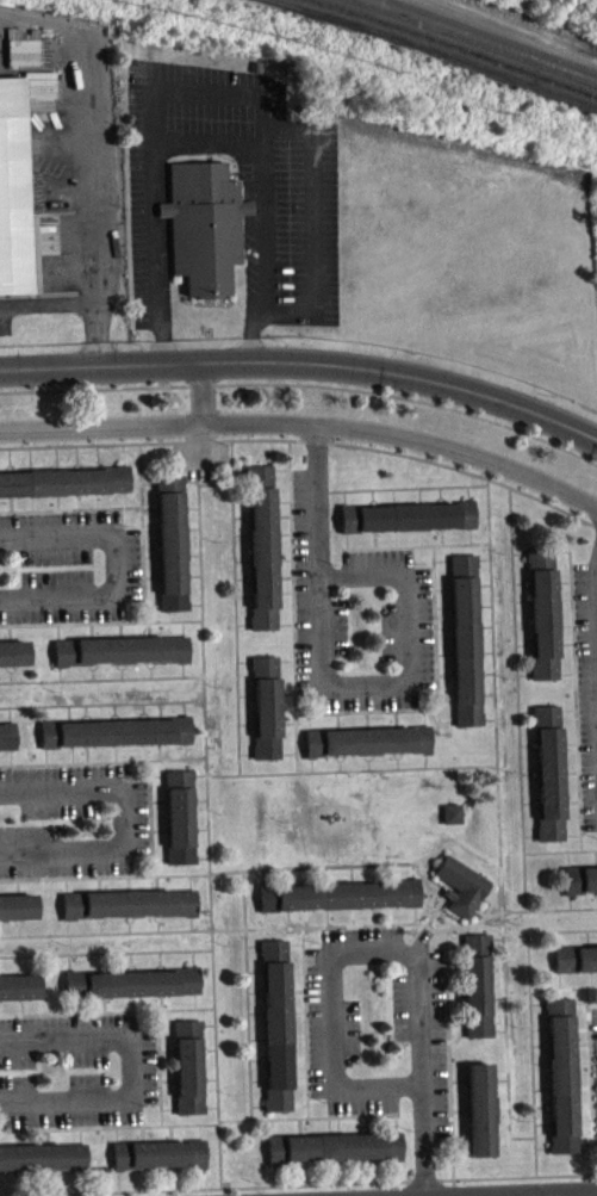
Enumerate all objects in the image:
railway: (477, 39)
railway: (460, 45)
railway: (440, 50)
road: (210, 92)
parking lot: (287, 188)
building: (14, 193)
building: (203, 223)
road: (80, 303)
road: (304, 367)
road: (193, 392)
road: (306, 423)
building: (63, 491)
building: (405, 526)
building: (169, 552)
building: (260, 557)
road: (119, 566)
road: (595, 597)
building: (541, 622)
building: (464, 649)
building: (119, 659)
building: (12, 662)
road: (330, 689)
building: (265, 717)
building: (113, 742)
building: (6, 748)
building: (366, 750)
building: (547, 782)
building: (450, 823)
road: (123, 824)
building: (178, 826)
building: (579, 888)
building: (459, 896)
building: (337, 905)
building: (128, 912)
building: (17, 917)
road: (327, 953)
building: (574, 967)
building: (130, 992)
building: (474, 994)
building: (18, 997)
building: (274, 1034)
road: (132, 1067)
building: (186, 1076)
building: (559, 1084)
building: (478, 1118)
road: (423, 1140)
building: (332, 1157)
building: (156, 1164)
building: (42, 1166)
road: (568, 1194)

